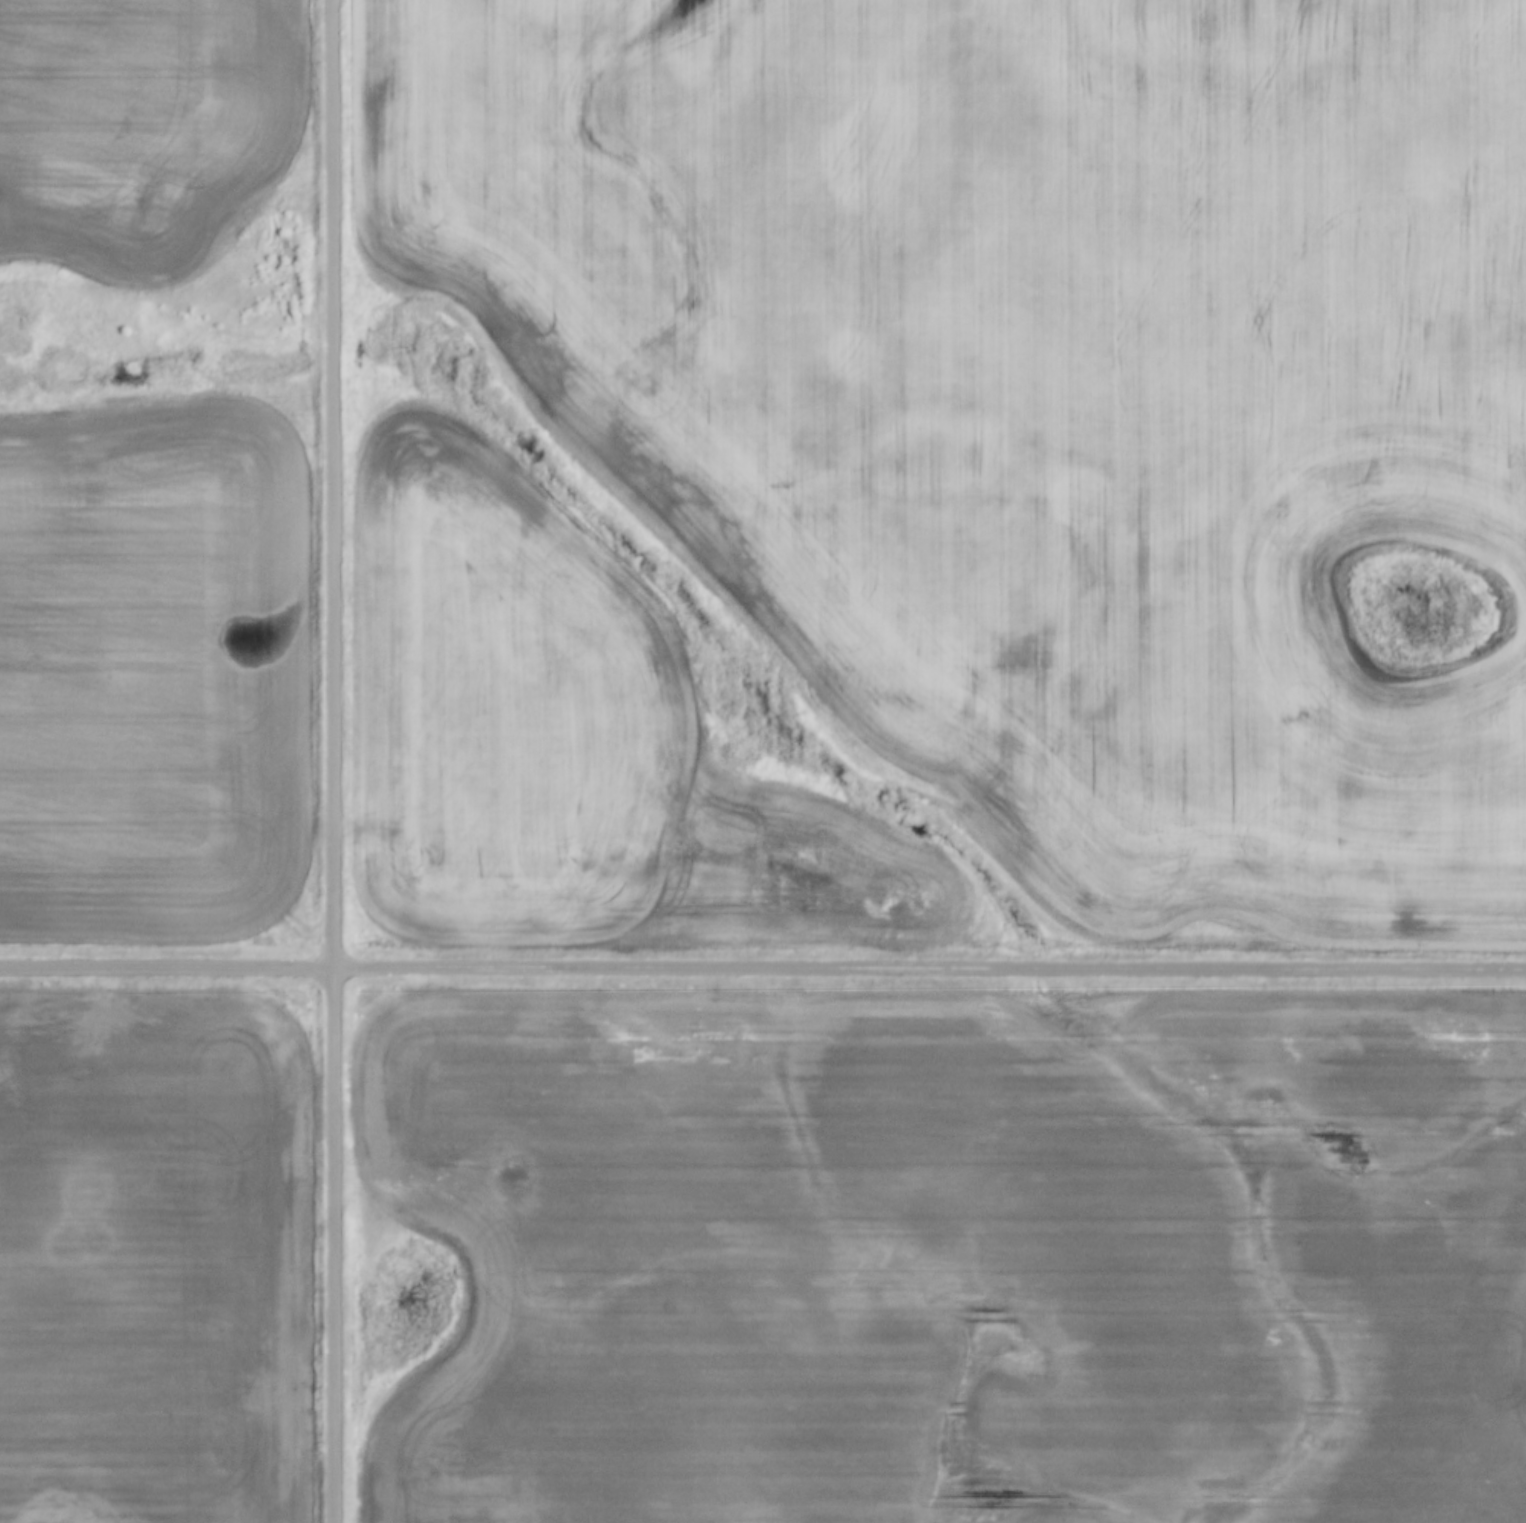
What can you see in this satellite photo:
road: (333, 761)
road: (763, 969)

